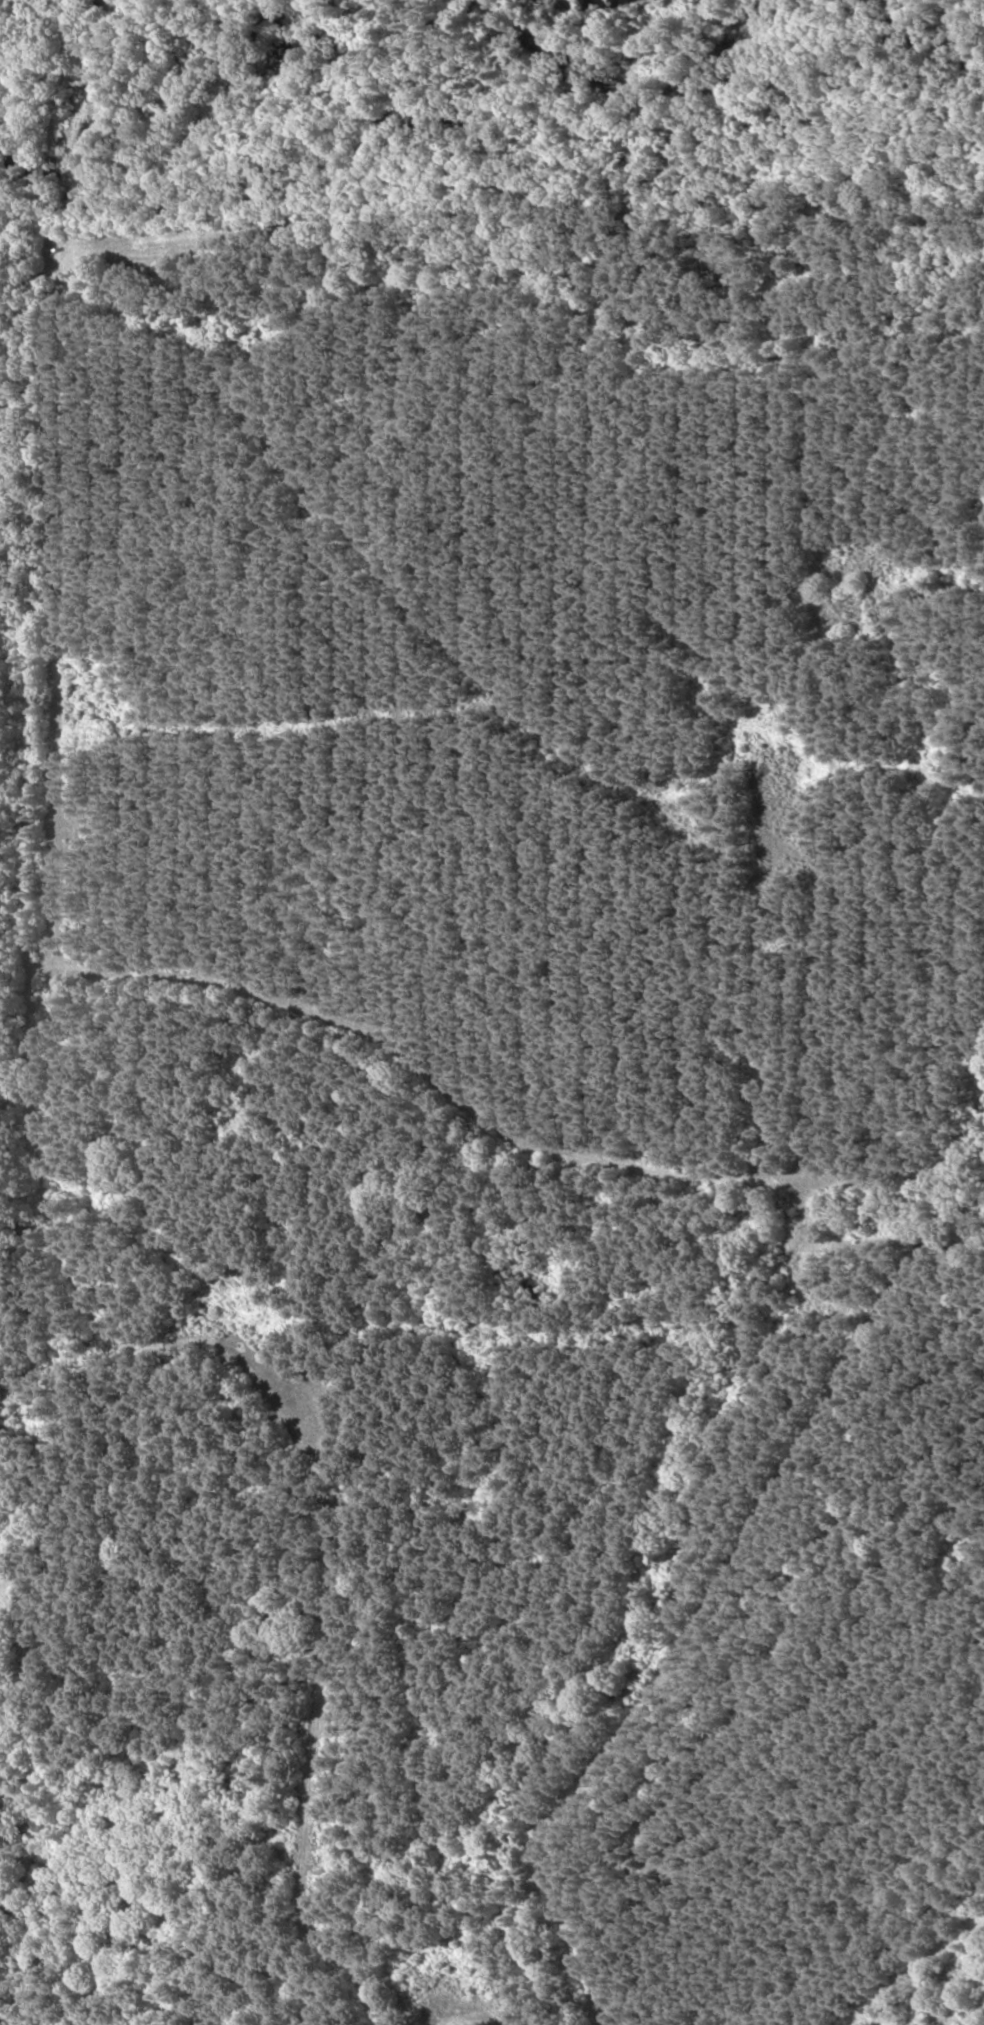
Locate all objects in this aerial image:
road: (414, 2014)

